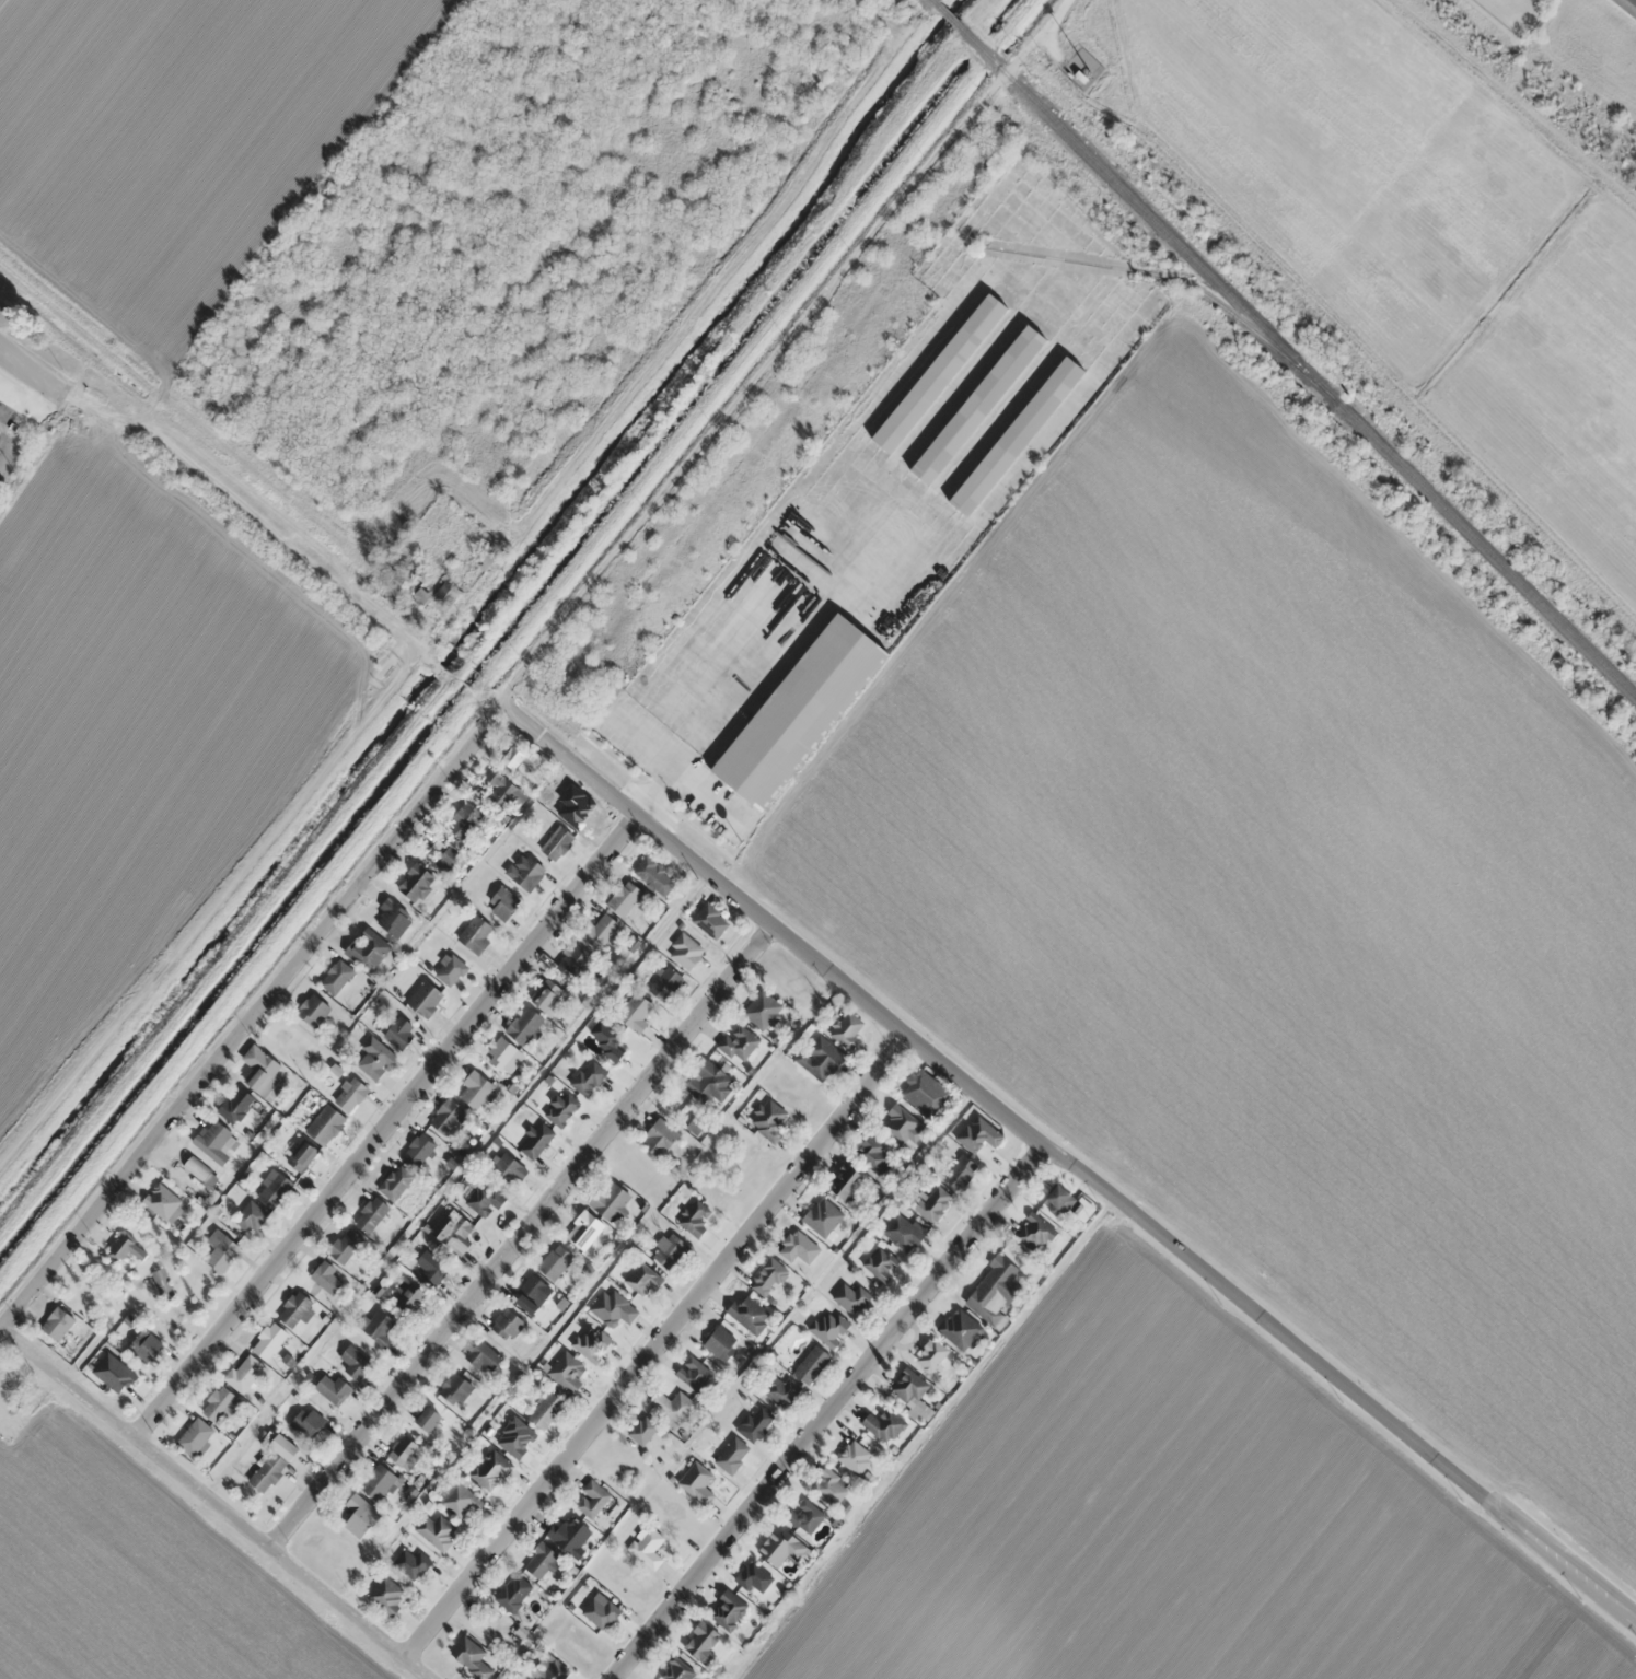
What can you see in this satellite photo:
building: (1627, 5)
building: (1070, 67)
building: (1081, 75)
railway: (1174, 278)
railway: (1285, 346)
road: (781, 350)
building: (940, 373)
building: (978, 404)
building: (1018, 435)
road: (12, 441)
road: (214, 488)
building: (490, 555)
building: (449, 591)
building: (421, 596)
building: (800, 711)
building: (521, 757)
building: (504, 789)
building: (464, 819)
building: (558, 841)
building: (448, 859)
building: (529, 872)
building: (654, 875)
building: (417, 882)
building: (625, 897)
building: (503, 902)
building: (393, 917)
building: (711, 919)
building: (600, 930)
building: (476, 934)
building: (368, 949)
building: (685, 951)
building: (575, 959)
building: (450, 969)
building: (336, 977)
building: (665, 982)
building: (548, 996)
building: (426, 998)
building: (313, 1010)
building: (763, 1010)
road: (248, 1011)
building: (635, 1012)
building: (524, 1025)
building: (847, 1029)
building: (399, 1031)
building: (606, 1038)
building: (739, 1042)
building: (503, 1056)
building: (820, 1057)
building: (374, 1059)
building: (263, 1073)
building: (589, 1077)
building: (709, 1084)
building: (476, 1089)
building: (925, 1092)
building: (350, 1094)
building: (235, 1105)
building: (561, 1108)
building: (446, 1116)
building: (769, 1120)
road: (381, 1123)
building: (902, 1123)
building: (326, 1124)
building: (659, 1136)
building: (536, 1141)
building: (216, 1142)
building: (419, 1151)
building: (302, 1155)
building: (874, 1155)
road: (1065, 1165)
building: (200, 1170)
building: (508, 1170)
building: (960, 1170)
building: (396, 1181)
building: (846, 1181)
building: (274, 1187)
building: (484, 1200)
building: (611, 1200)
building: (1059, 1200)
building: (162, 1201)
building: (932, 1202)
building: (371, 1214)
building: (823, 1216)
building: (251, 1217)
building: (695, 1217)
building: (584, 1229)
building: (454, 1232)
building: (903, 1232)
building: (1035, 1232)
road: (518, 1236)
building: (346, 1245)
building: (799, 1247)
building: (125, 1248)
building: (220, 1250)
building: (669, 1251)
building: (555, 1261)
building: (881, 1262)
building: (431, 1268)
building: (768, 1276)
building: (327, 1278)
building: (643, 1280)
building: (162, 1284)
building: (994, 1290)
building: (532, 1294)
building: (409, 1297)
building: (850, 1297)
building: (613, 1307)
building: (295, 1308)
building: (750, 1314)
building: (58, 1324)
building: (508, 1325)
building: (379, 1326)
building: (827, 1327)
building: (961, 1329)
building: (269, 1340)
building: (721, 1342)
building: (144, 1343)
building: (591, 1343)
road: (653, 1345)
building: (935, 1354)
building: (484, 1355)
building: (355, 1362)
building: (812, 1364)
building: (567, 1372)
building: (114, 1373)
building: (244, 1373)
building: (694, 1373)
building: (333, 1388)
building: (455, 1388)
building: (781, 1389)
building: (913, 1392)
building: (218, 1403)
building: (674, 1406)
building: (546, 1410)
road: (824, 1412)
building: (429, 1418)
building: (308, 1422)
building: (755, 1422)
building: (885, 1424)
building: (642, 1430)
building: (195, 1436)
building: (404, 1453)
building: (732, 1455)
building: (855, 1456)
building: (274, 1462)
building: (491, 1470)
building: (378, 1482)
building: (697, 1482)
building: (831, 1486)
building: (592, 1499)
building: (460, 1501)
road: (214, 1504)
building: (359, 1514)
building: (805, 1515)
building: (437, 1530)
building: (570, 1535)
building: (647, 1546)
building: (781, 1546)
building: (539, 1560)
building: (414, 1563)
building: (754, 1577)
building: (513, 1593)
building: (387, 1595)
building: (728, 1610)
building: (601, 1611)
building: (703, 1641)
building: (475, 1657)
building: (677, 1669)
building: (552, 1670)

